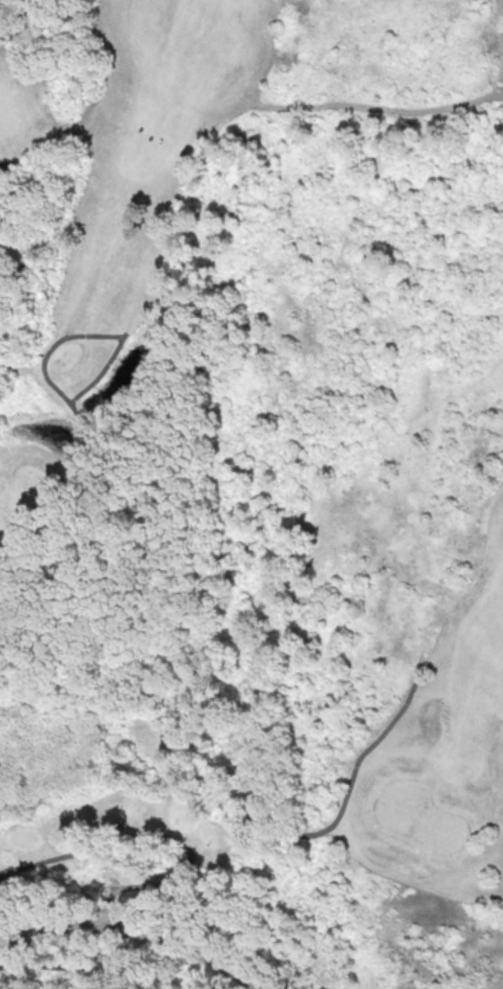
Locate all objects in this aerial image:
road: (13, 223)
park: (251, 494)
road: (137, 934)

